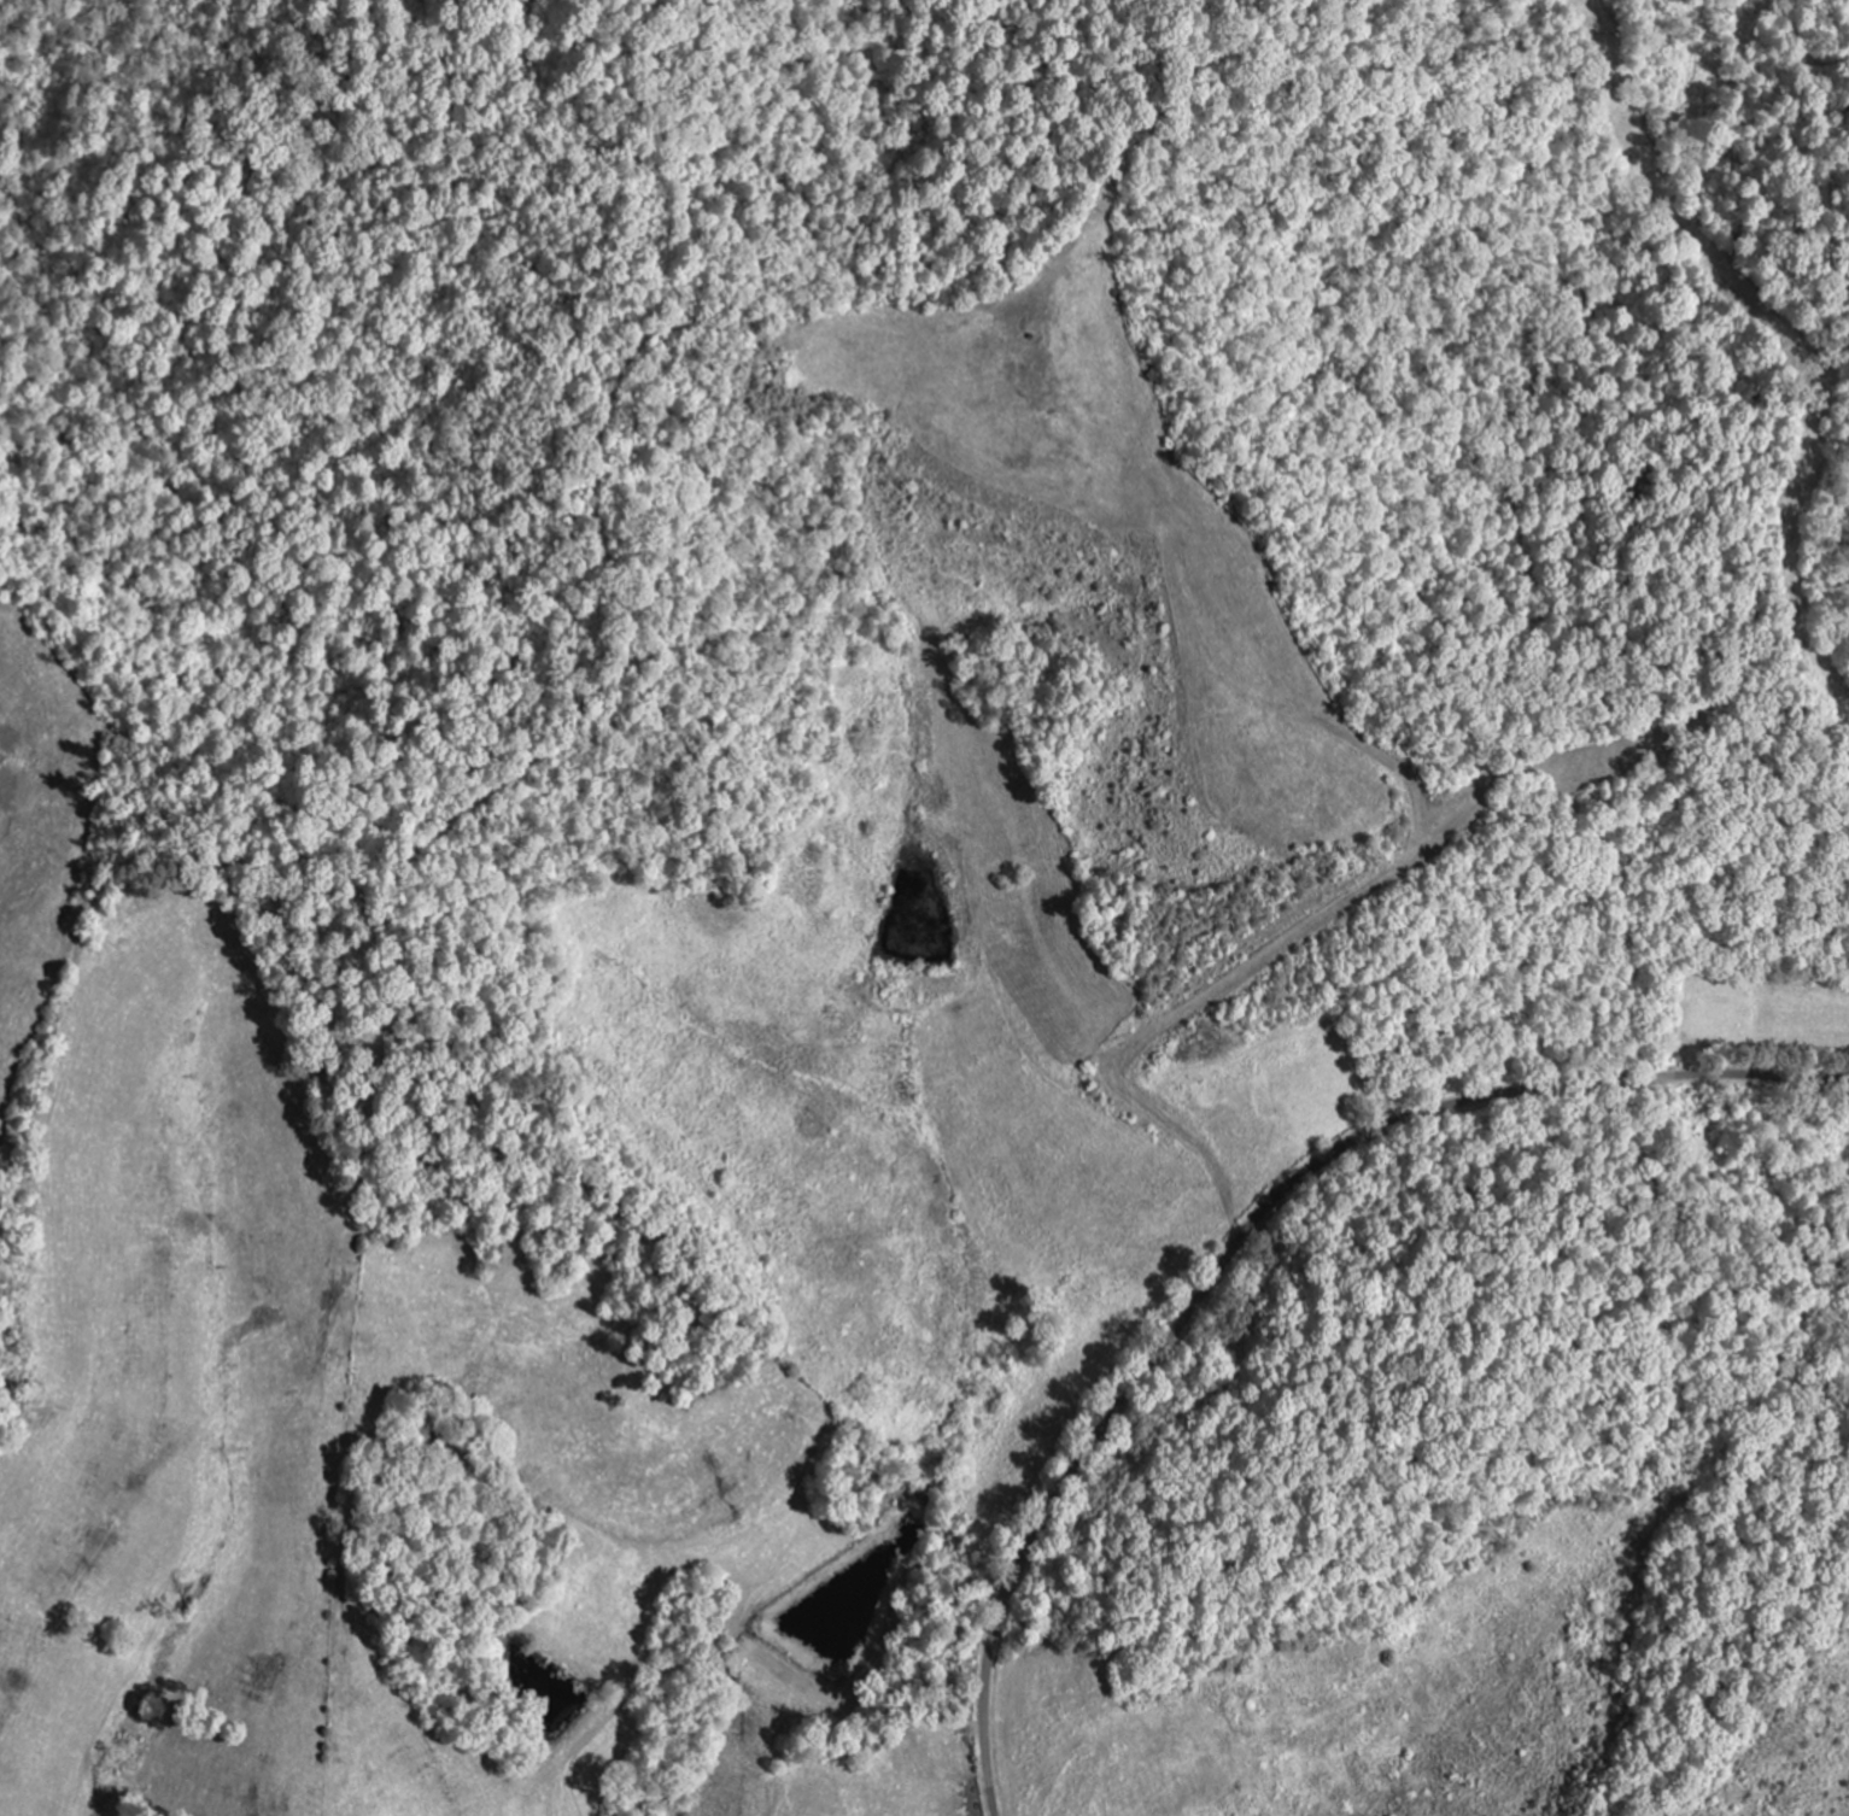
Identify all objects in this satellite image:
road: (1242, 1237)

